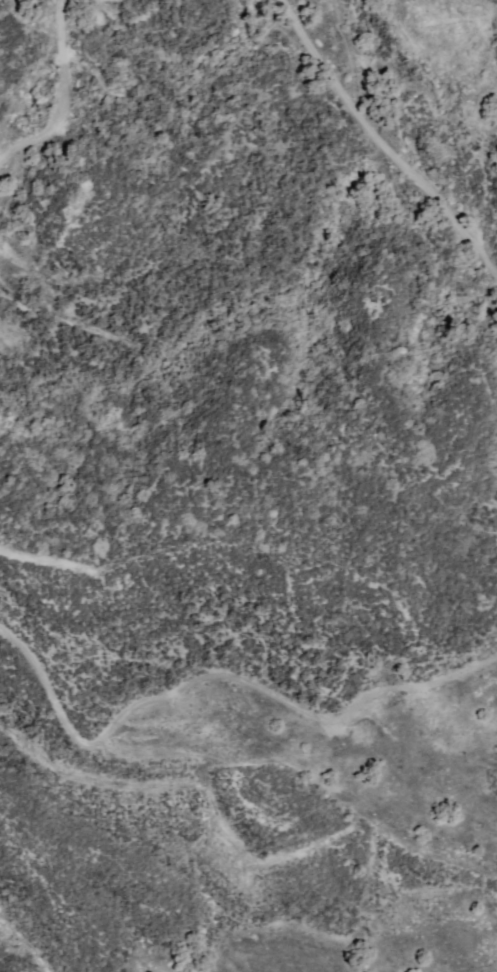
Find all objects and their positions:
road: (382, 143)

